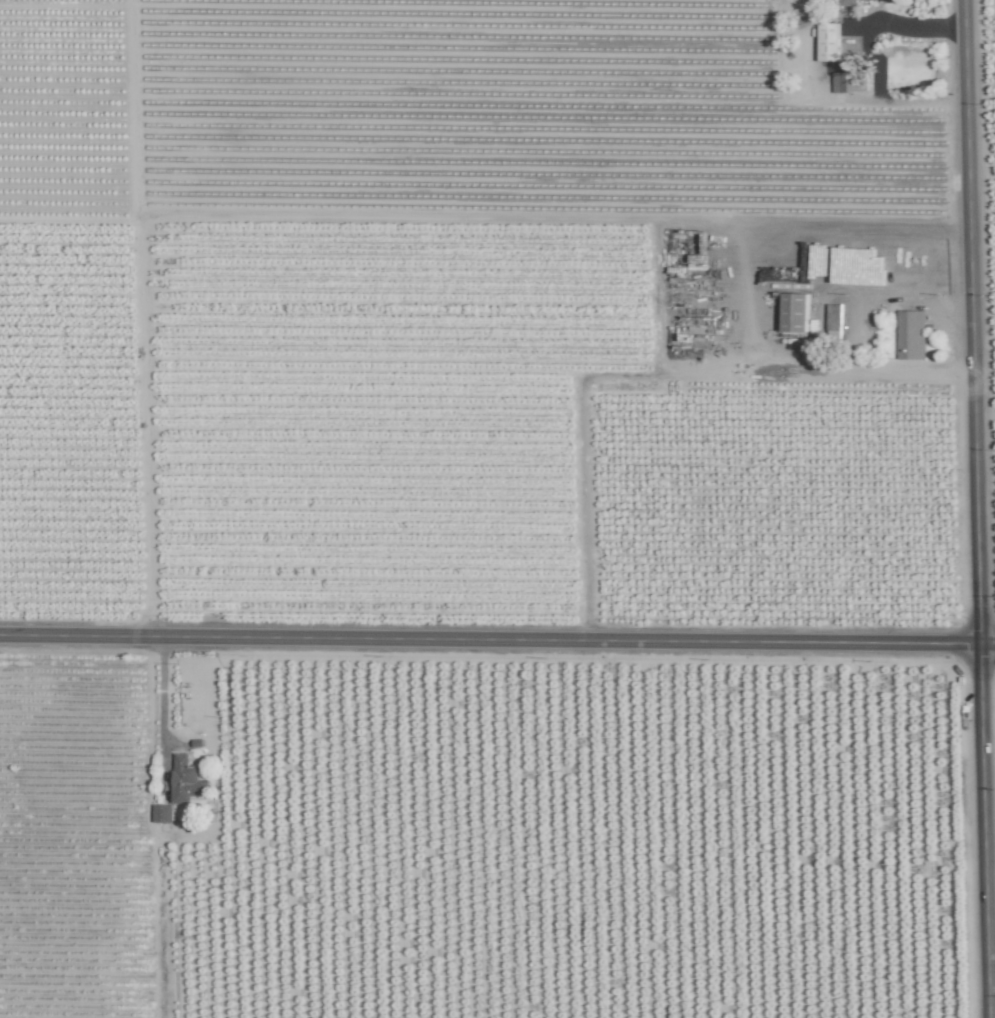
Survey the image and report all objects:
building: (847, 2)
road: (908, 27)
building: (828, 41)
road: (795, 231)
road: (877, 291)
building: (794, 312)
building: (833, 316)
building: (910, 334)
road: (865, 368)
road: (583, 426)
road: (976, 509)
road: (497, 639)
road: (161, 691)
building: (185, 780)
building: (162, 813)

